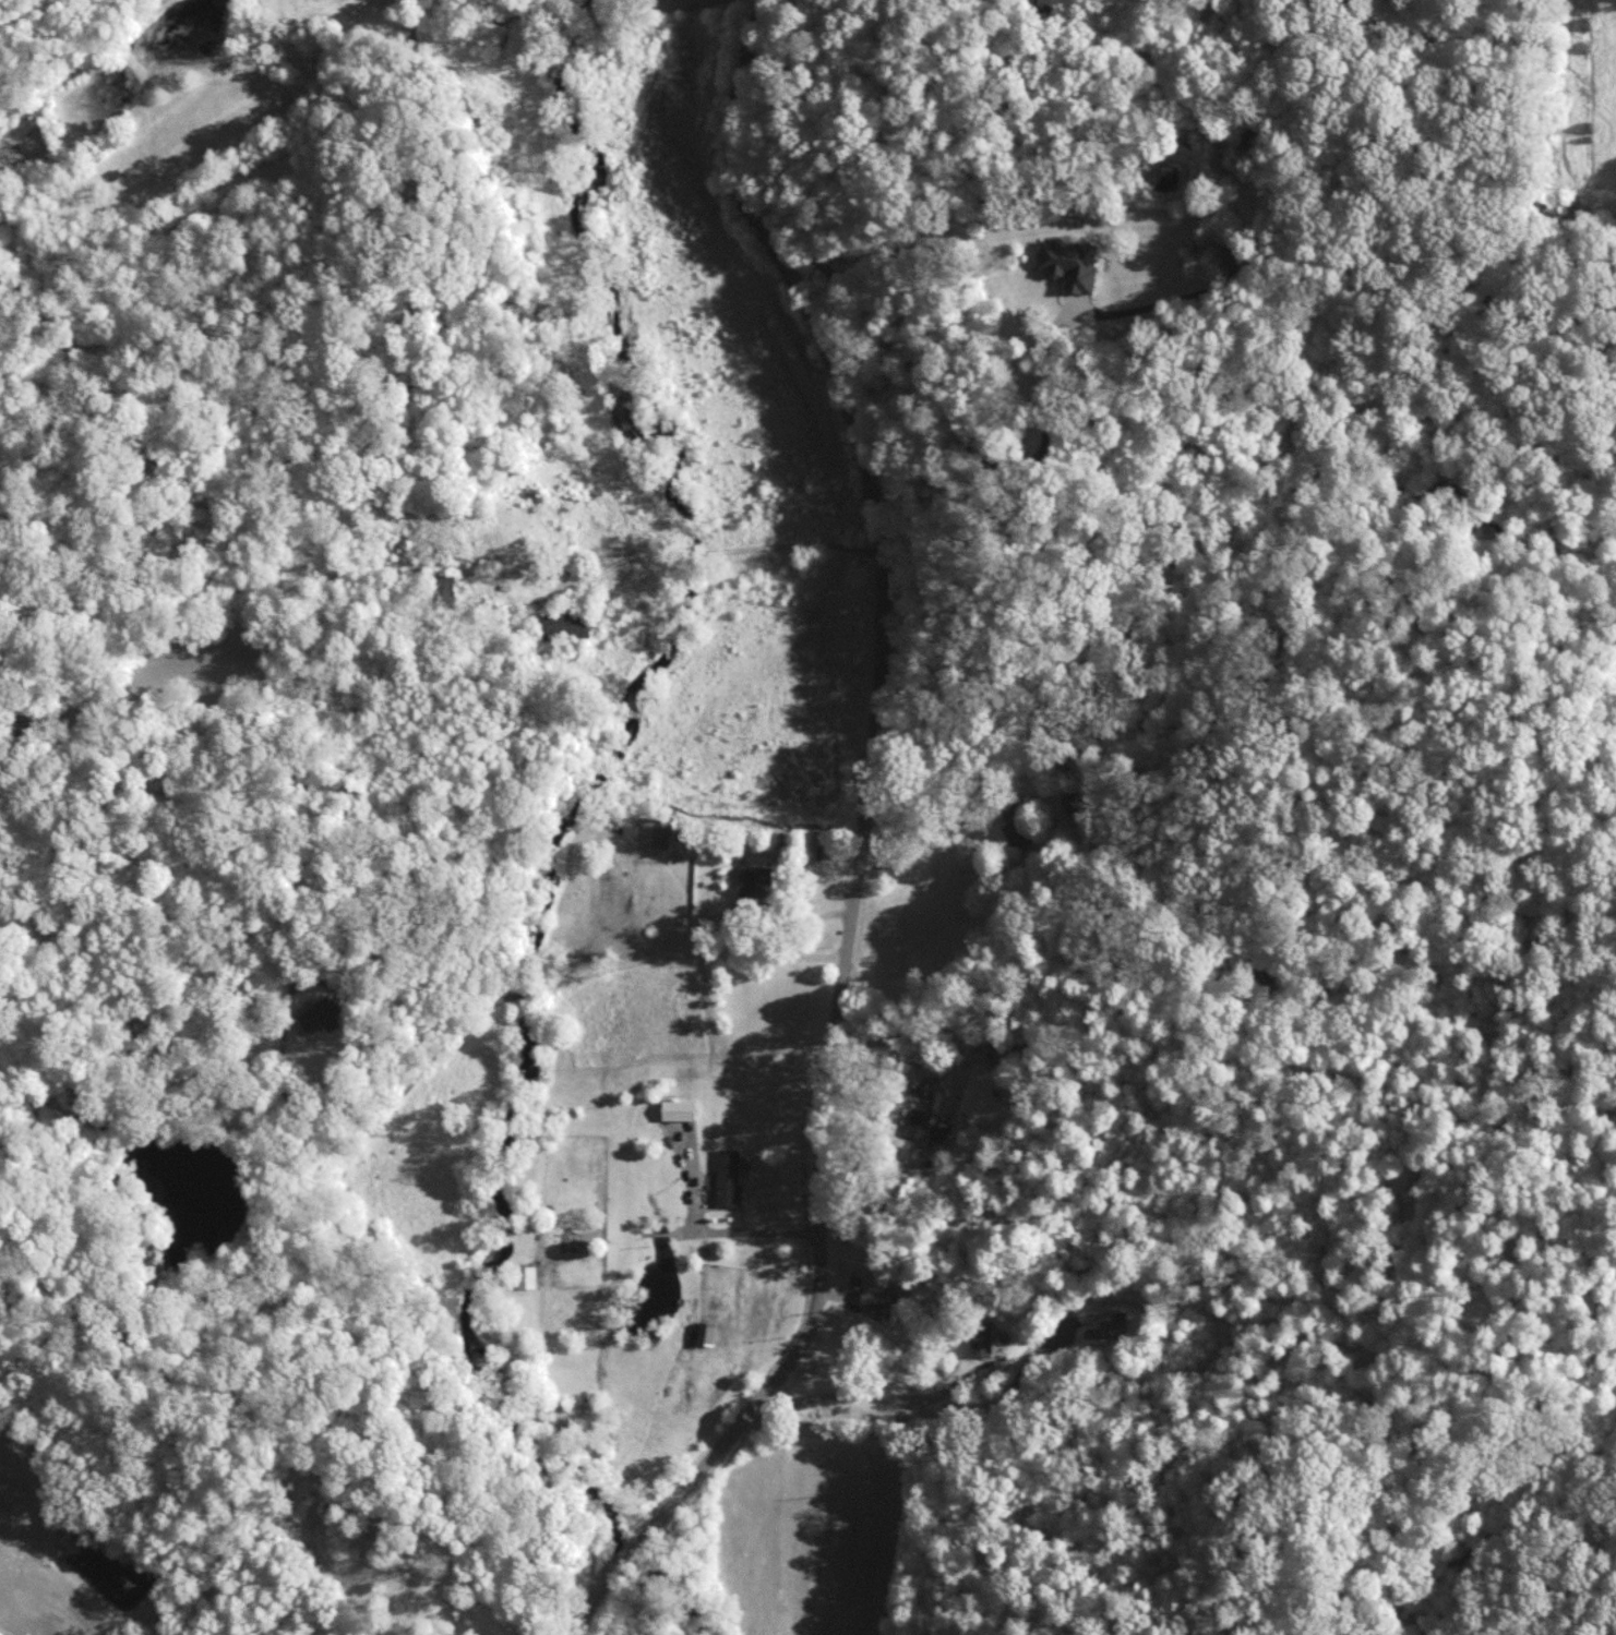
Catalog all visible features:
building: (1068, 262)
road: (947, 416)
road: (717, 552)
building: (567, 624)
building: (1012, 826)
building: (654, 832)
road: (860, 843)
road: (770, 853)
building: (755, 882)
road: (498, 997)
building: (316, 1015)
road: (913, 1027)
building: (678, 1108)
building: (919, 1120)
building: (727, 1176)
road: (742, 1230)
building: (526, 1275)
building: (872, 1295)
building: (1104, 1324)
building: (705, 1332)
building: (981, 1336)
road: (871, 1395)
road: (927, 1448)
road: (0, 1634)

